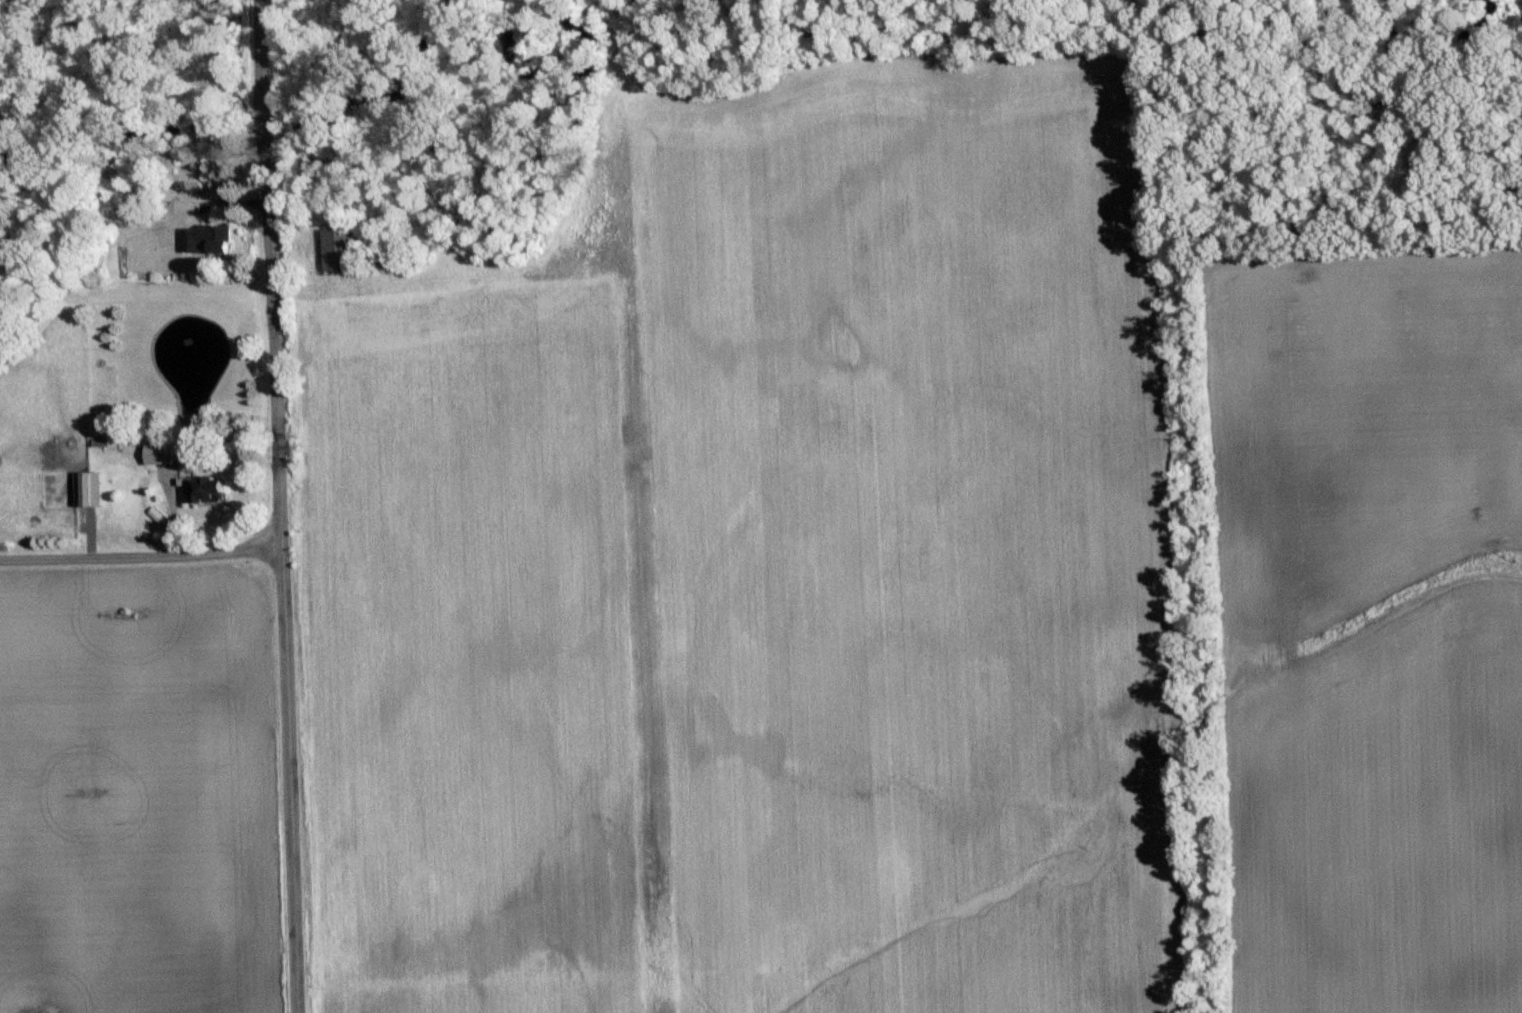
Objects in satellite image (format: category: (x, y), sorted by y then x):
road: (260, 42)
road: (263, 100)
road: (265, 126)
building: (209, 235)
building: (342, 246)
building: (165, 450)
building: (210, 484)
building: (92, 486)
road: (138, 556)
road: (276, 574)

